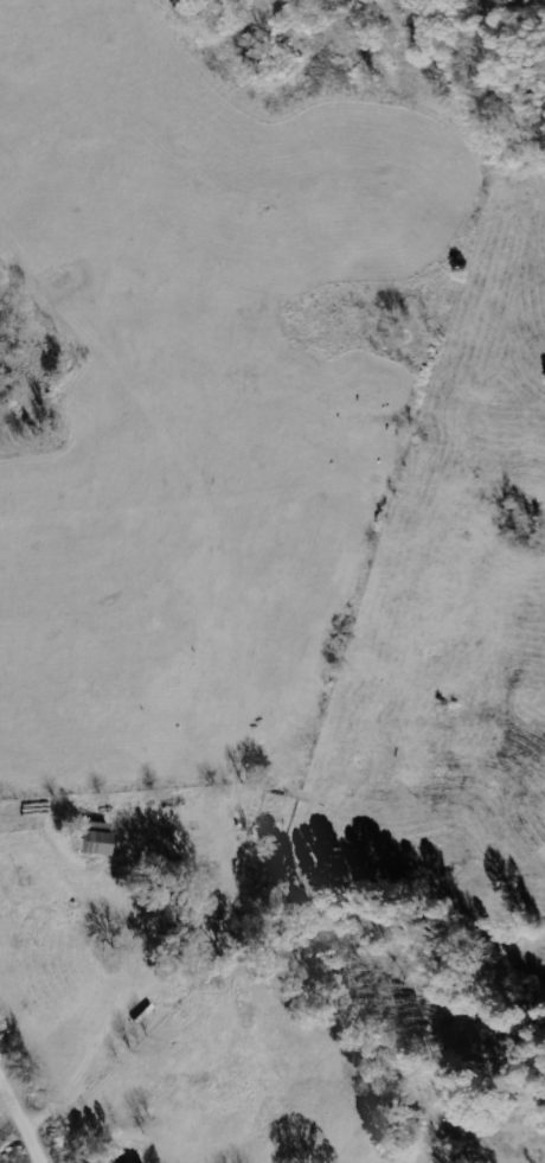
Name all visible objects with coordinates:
road: (24, 1112)

